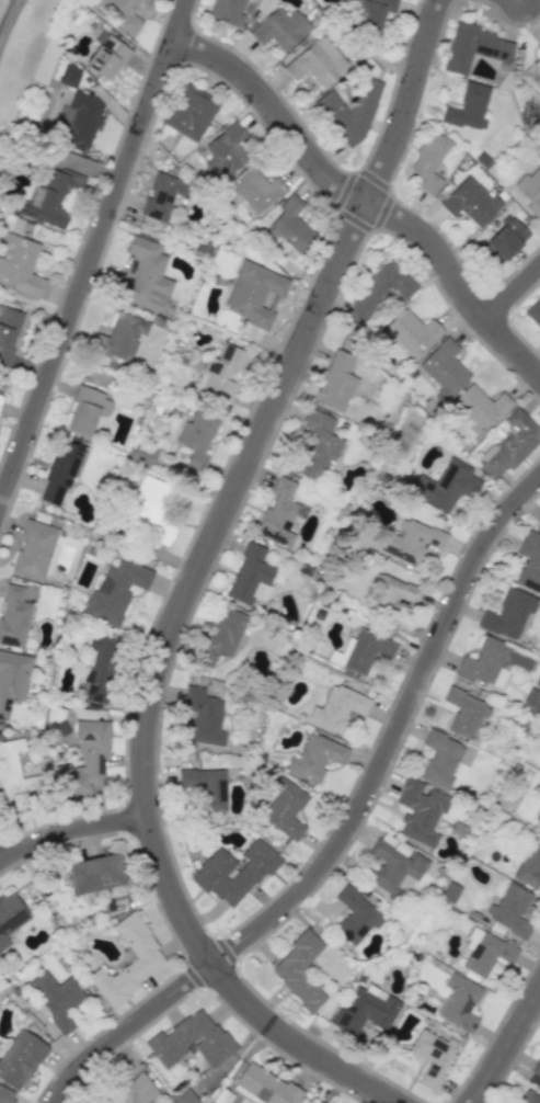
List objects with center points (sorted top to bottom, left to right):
road: (522, 0)
building: (227, 11)
building: (123, 13)
building: (371, 13)
road: (8, 19)
building: (279, 29)
building: (538, 46)
building: (473, 47)
building: (106, 56)
building: (317, 61)
building: (70, 76)
building: (532, 76)
building: (468, 107)
building: (332, 109)
building: (191, 113)
building: (82, 120)
building: (226, 151)
building: (428, 161)
building: (255, 190)
building: (531, 191)
building: (163, 195)
building: (53, 197)
building: (469, 201)
road: (361, 203)
building: (291, 226)
building: (506, 238)
road: (95, 255)
building: (20, 268)
building: (147, 275)
building: (254, 294)
building: (376, 294)
road: (515, 298)
building: (533, 311)
building: (8, 332)
building: (411, 333)
building: (122, 336)
building: (444, 367)
building: (223, 372)
building: (335, 382)
building: (0, 397)
building: (480, 407)
building: (85, 410)
building: (196, 439)
building: (317, 444)
building: (510, 444)
building: (141, 455)
building: (59, 473)
building: (446, 486)
building: (539, 507)
building: (150, 508)
building: (277, 513)
building: (539, 523)
building: (411, 541)
building: (34, 549)
building: (529, 562)
building: (250, 576)
road: (195, 583)
building: (115, 589)
building: (391, 594)
building: (13, 613)
building: (507, 615)
building: (223, 634)
building: (366, 650)
building: (340, 653)
building: (492, 662)
building: (99, 669)
building: (12, 680)
building: (531, 701)
building: (337, 708)
building: (464, 712)
building: (203, 716)
building: (315, 757)
building: (440, 759)
building: (84, 760)
building: (14, 778)
building: (205, 787)
building: (284, 809)
building: (420, 811)
building: (537, 819)
road: (347, 830)
road: (72, 831)
building: (529, 866)
building: (394, 867)
building: (94, 873)
building: (233, 873)
building: (450, 891)
building: (510, 910)
building: (354, 916)
building: (10, 917)
building: (138, 942)
building: (486, 952)
building: (299, 970)
building: (57, 998)
building: (459, 1003)
building: (365, 1010)
building: (191, 1039)
road: (507, 1046)
building: (433, 1056)
building: (20, 1058)
building: (537, 1069)
building: (264, 1085)
building: (136, 1091)
building: (7, 1095)
building: (184, 1096)
building: (527, 1096)
building: (320, 1102)

